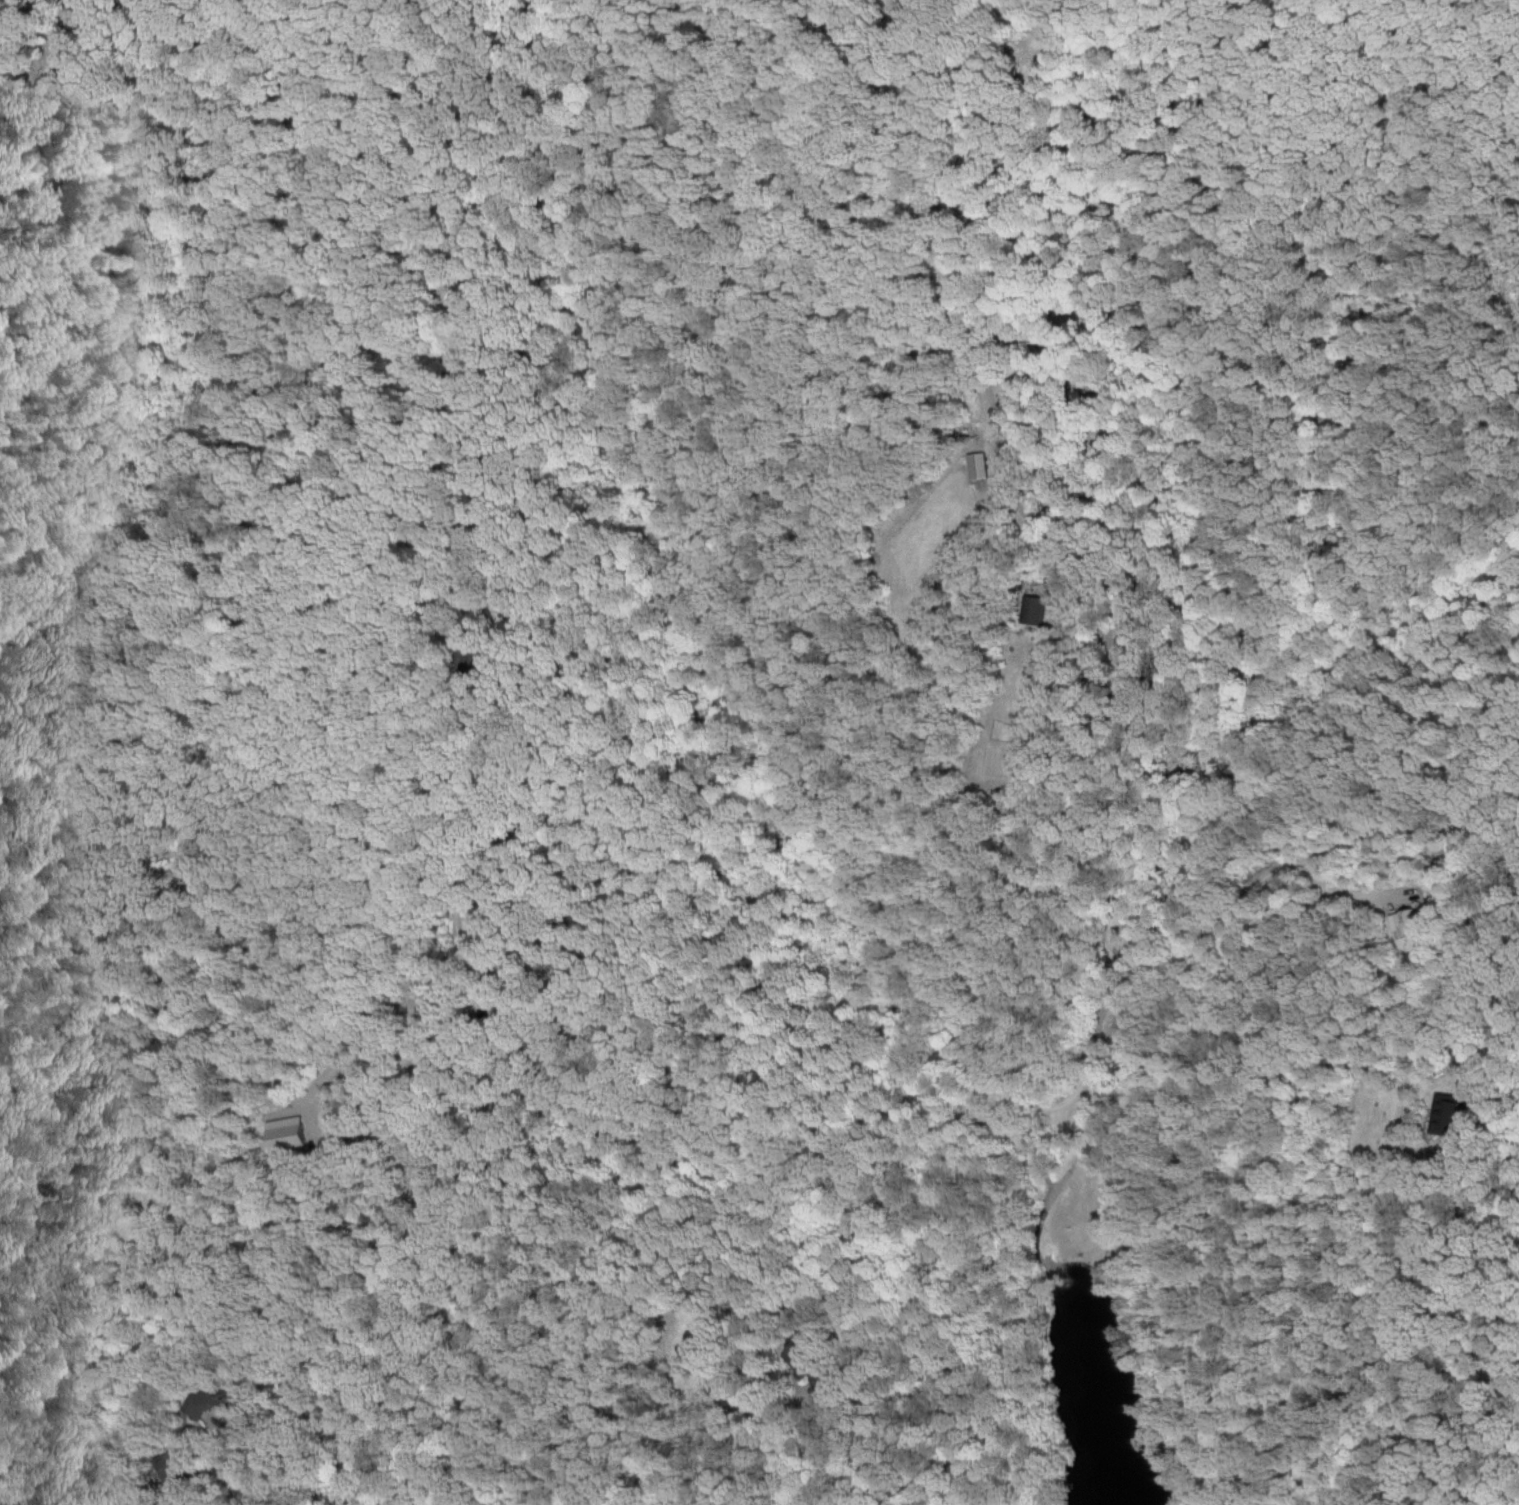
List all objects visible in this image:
road: (884, 12)
road: (996, 22)
road: (997, 416)
road: (419, 746)
building: (1392, 921)
road: (984, 1095)
building: (1446, 1110)
building: (282, 1131)
road: (1394, 1211)
road: (584, 1263)
road: (750, 1452)

